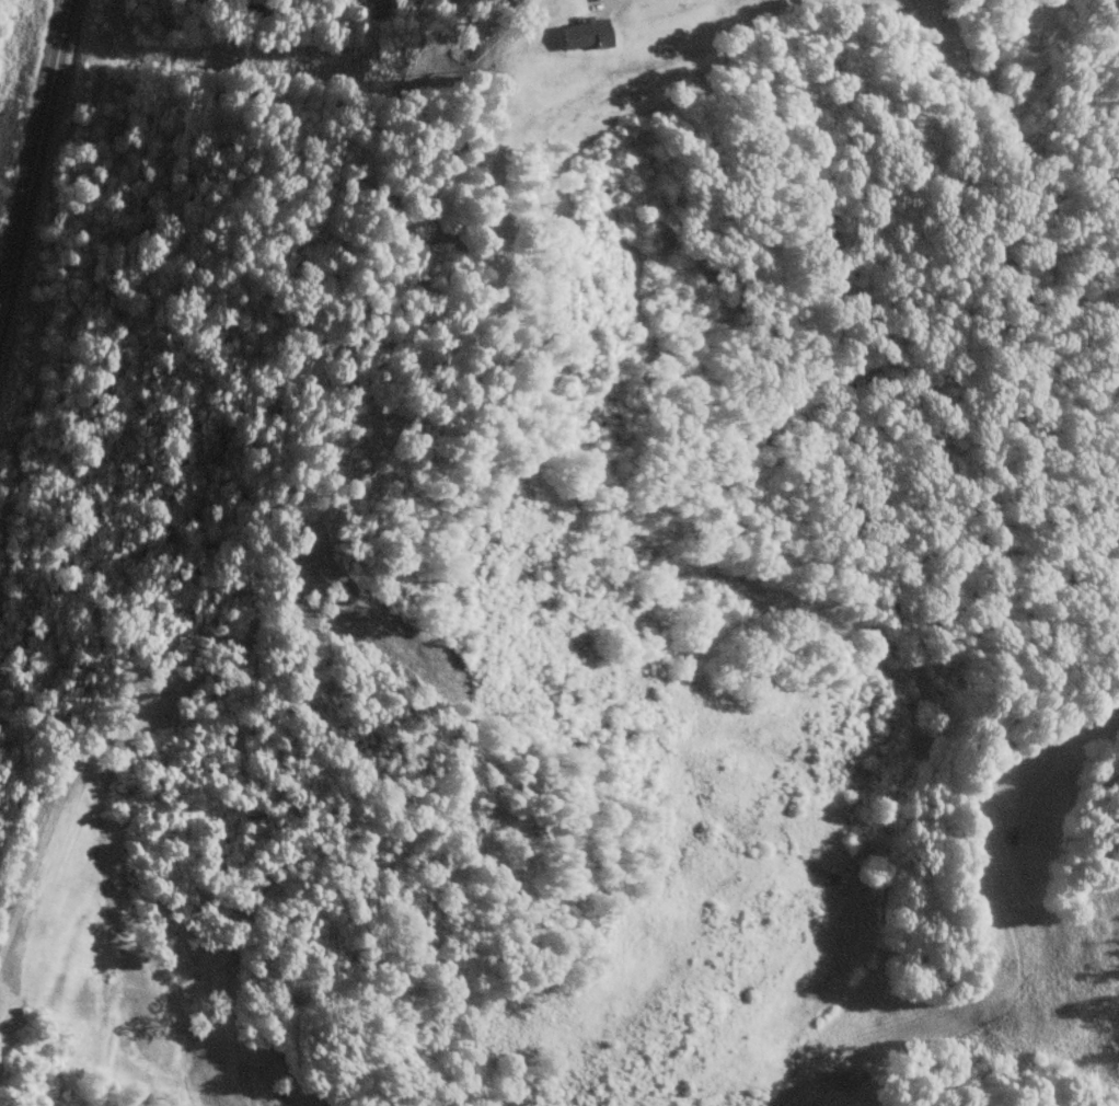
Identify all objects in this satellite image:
road: (32, 152)

